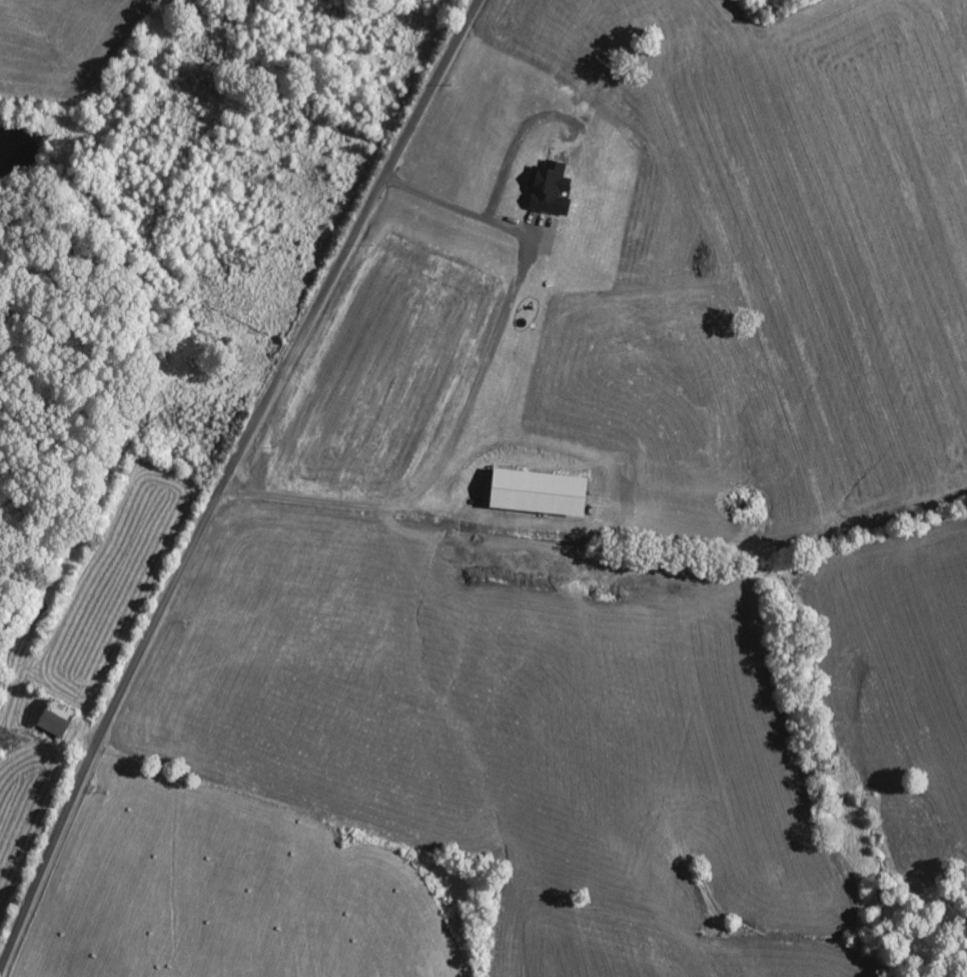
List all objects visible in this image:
building: (544, 191)
road: (226, 481)
building: (530, 494)
building: (48, 720)

